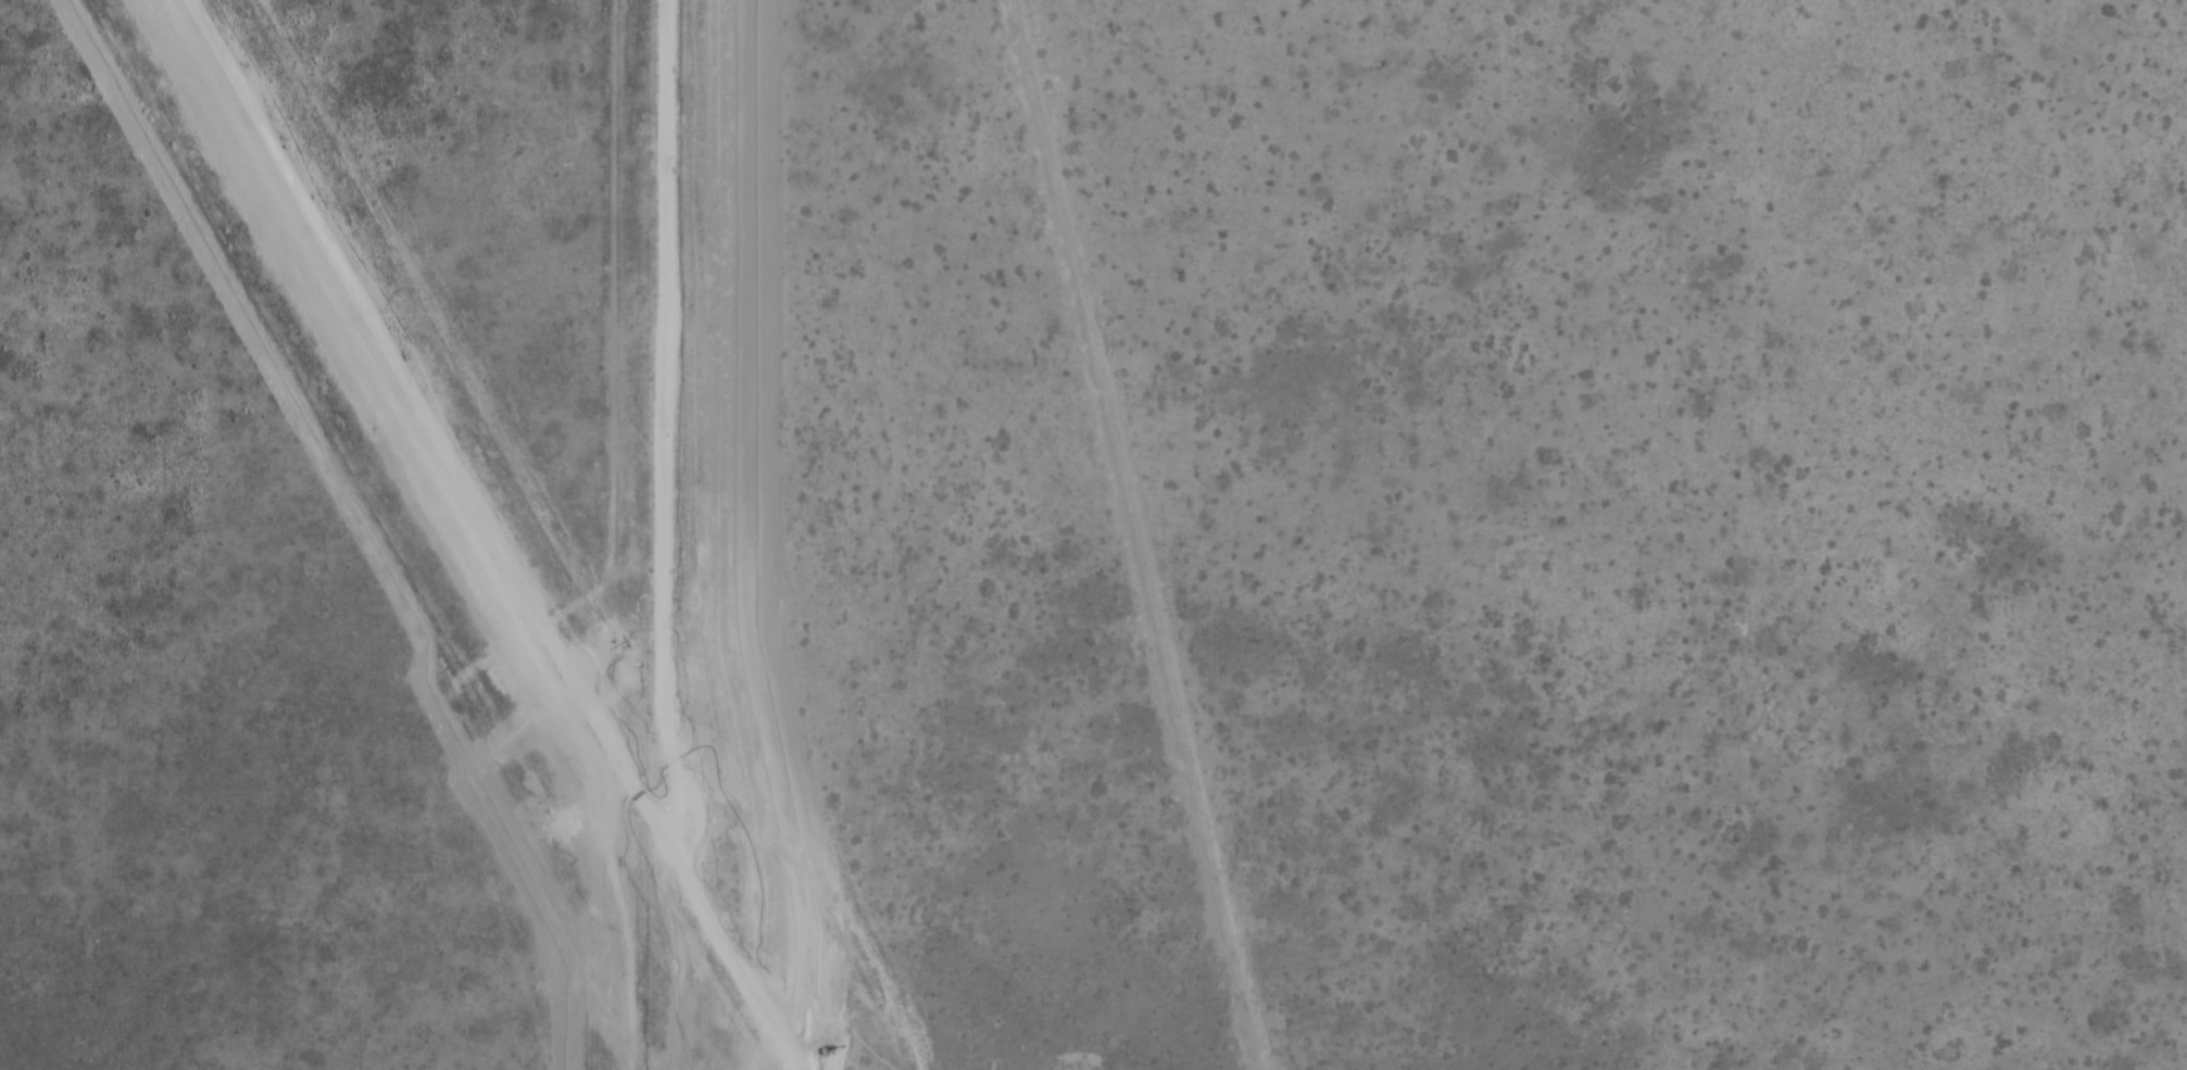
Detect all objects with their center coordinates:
road: (673, 450)
road: (492, 538)
road: (648, 956)

